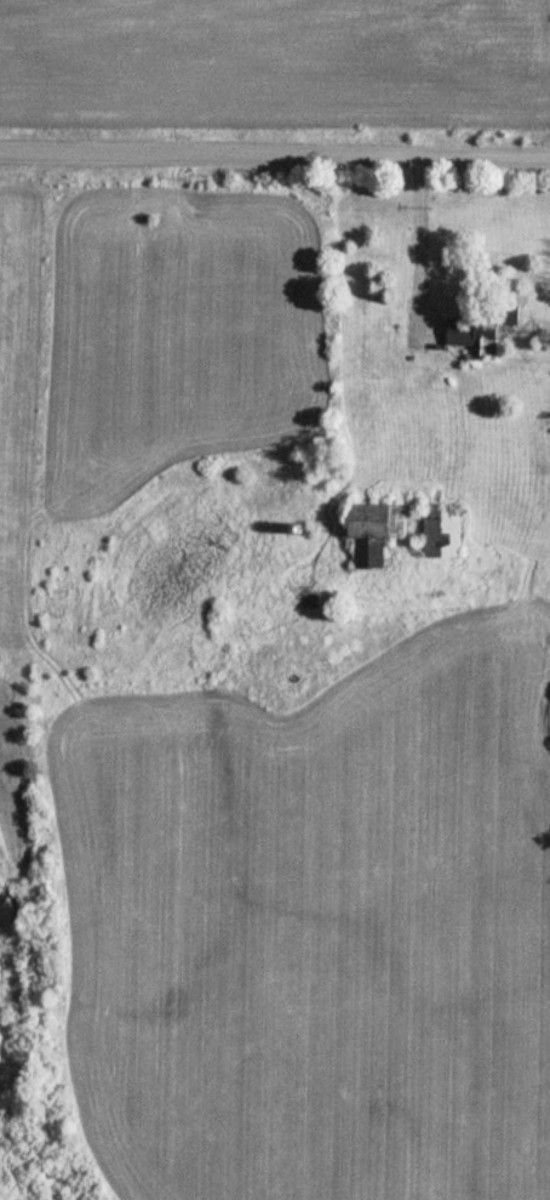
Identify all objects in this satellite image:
road: (275, 159)
building: (480, 339)
building: (446, 530)
building: (377, 541)

